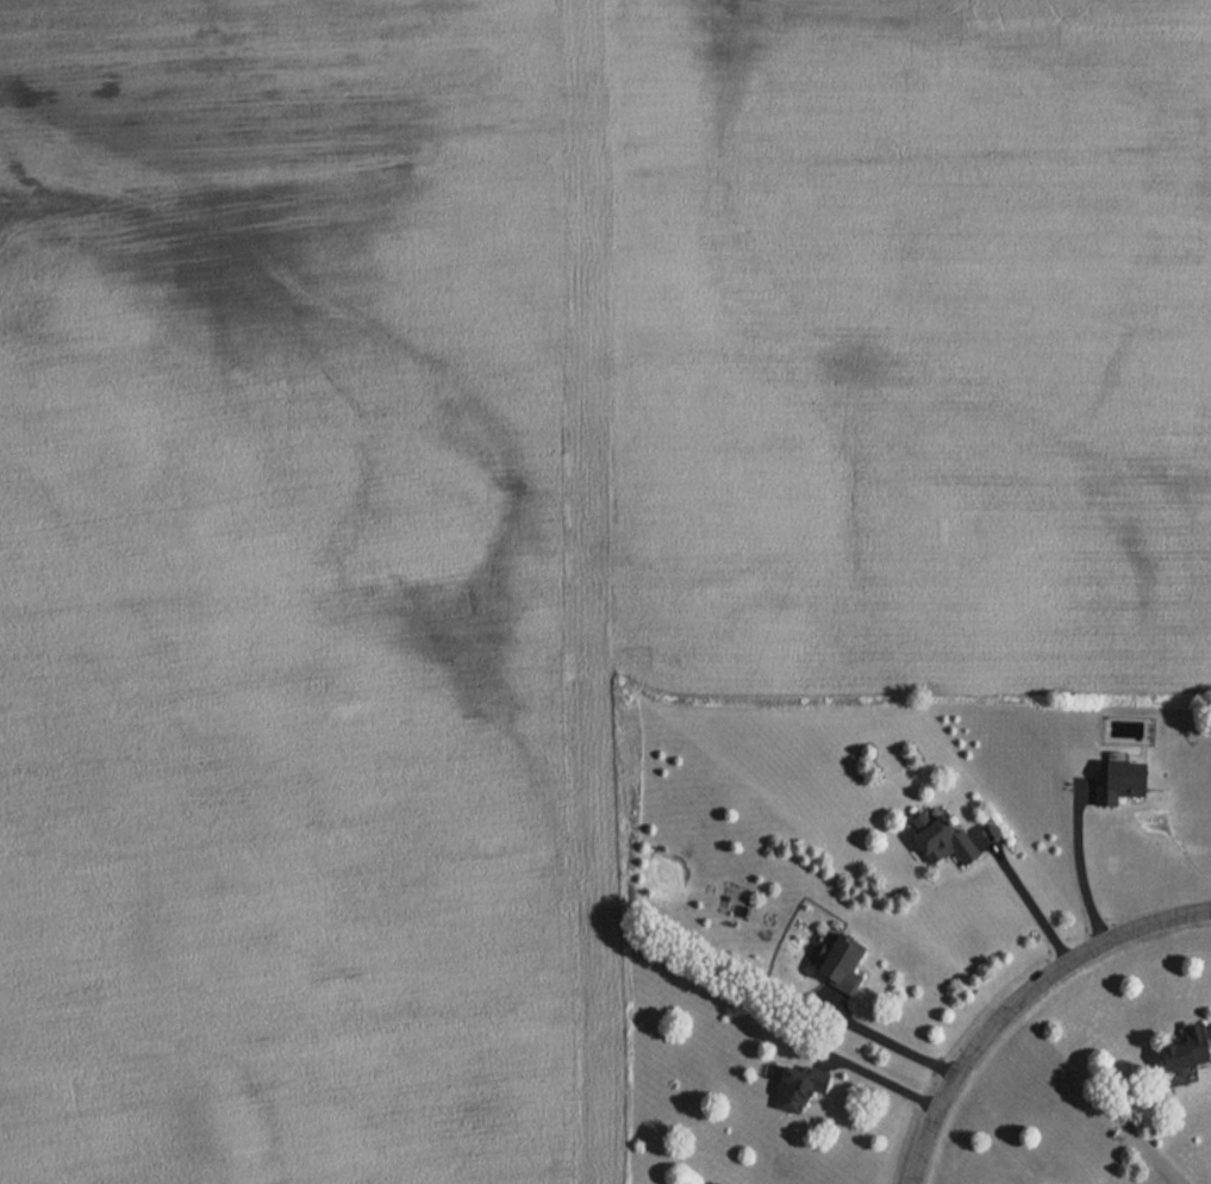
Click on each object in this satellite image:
building: (1115, 780)
building: (938, 841)
road: (1080, 865)
road: (1024, 895)
building: (832, 959)
road: (1020, 1001)
road: (891, 1040)
building: (1181, 1045)
road: (876, 1077)

